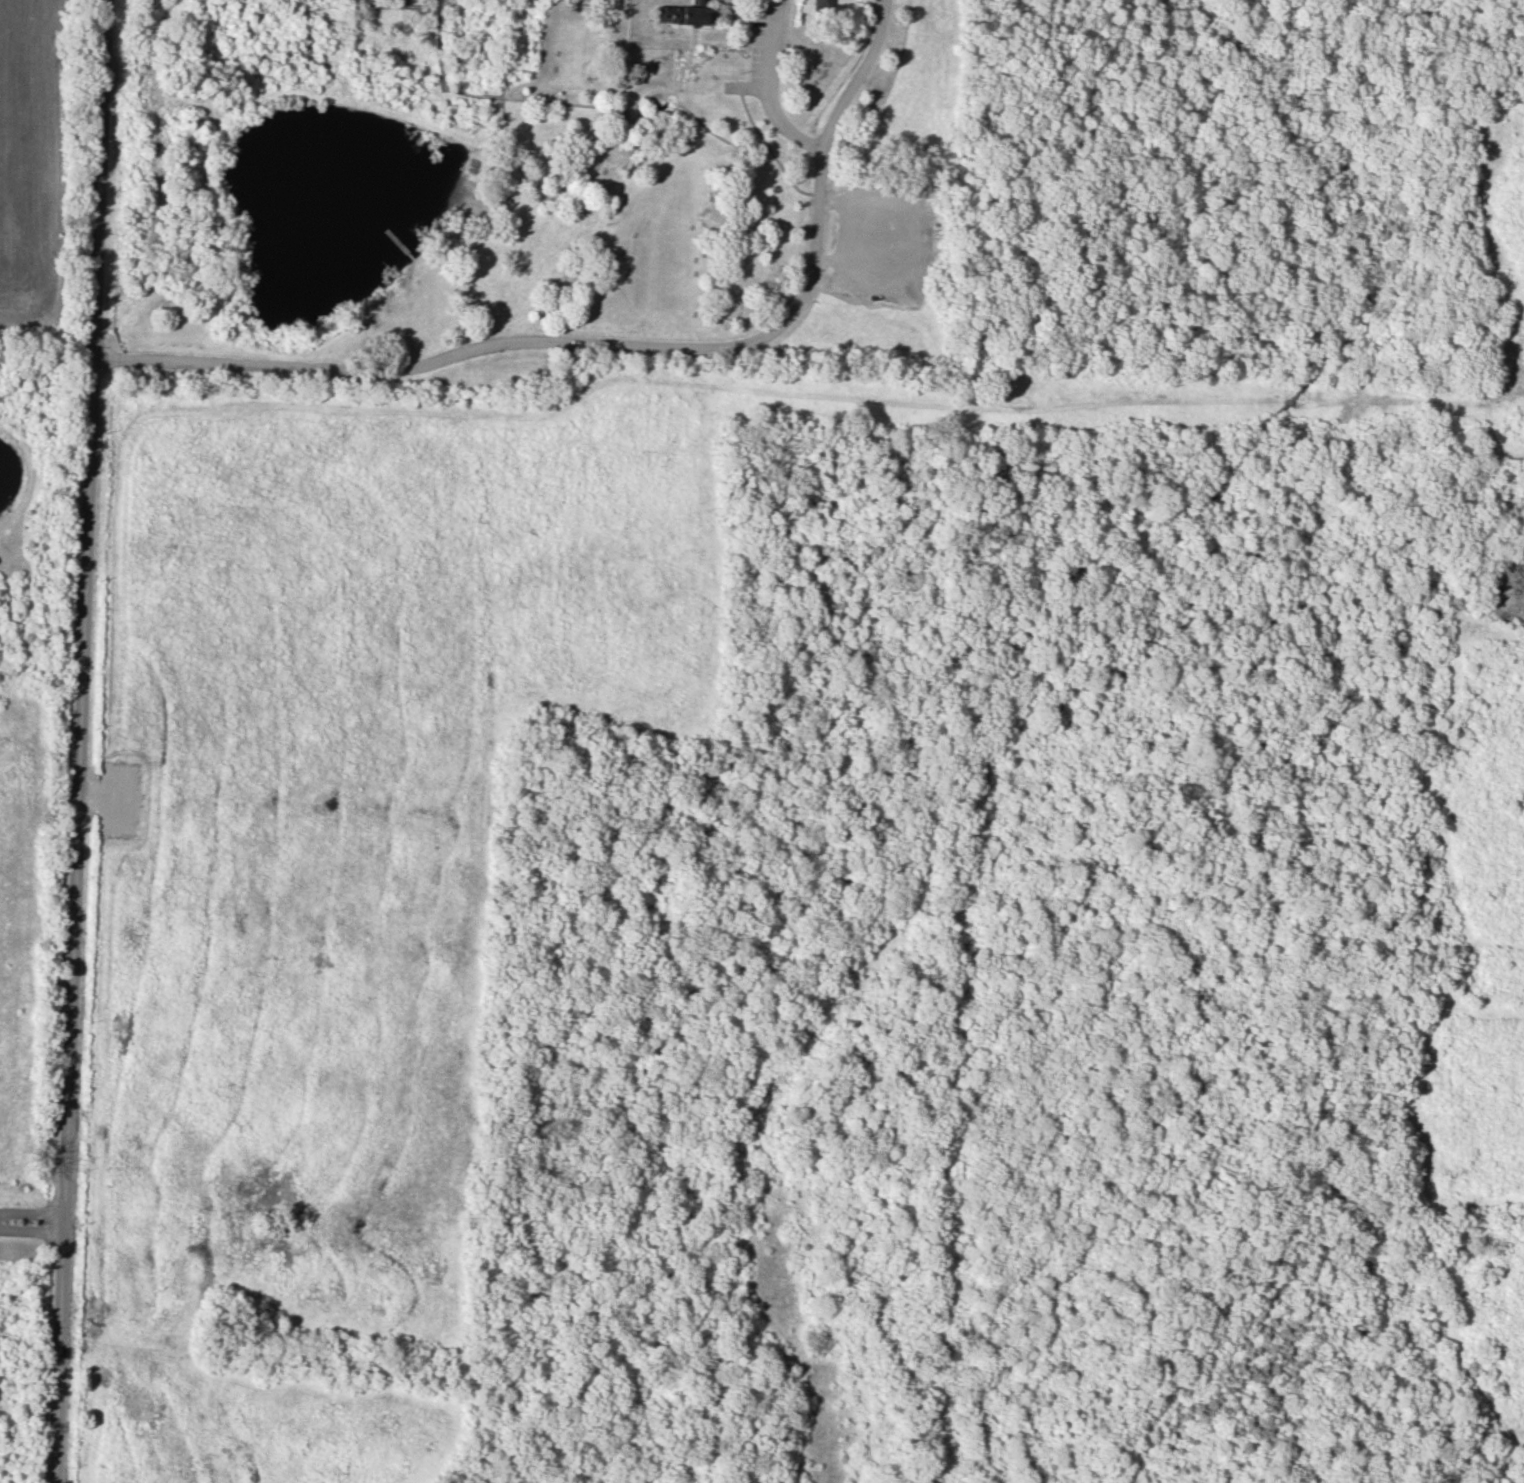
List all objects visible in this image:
road: (591, 1)
road: (407, 3)
road: (715, 3)
road: (405, 6)
building: (821, 6)
road: (750, 41)
road: (714, 44)
road: (443, 74)
road: (860, 74)
road: (766, 88)
road: (747, 89)
road: (330, 92)
road: (651, 94)
road: (669, 104)
road: (638, 110)
road: (651, 112)
road: (664, 114)
road: (623, 126)
road: (722, 139)
road: (157, 142)
road: (511, 148)
crop: (31, 152)
road: (1390, 152)
road: (99, 178)
road: (794, 187)
park: (644, 204)
parking lot: (882, 246)
road: (532, 340)
road: (576, 400)
park: (846, 888)
road: (76, 919)
road: (33, 1222)

